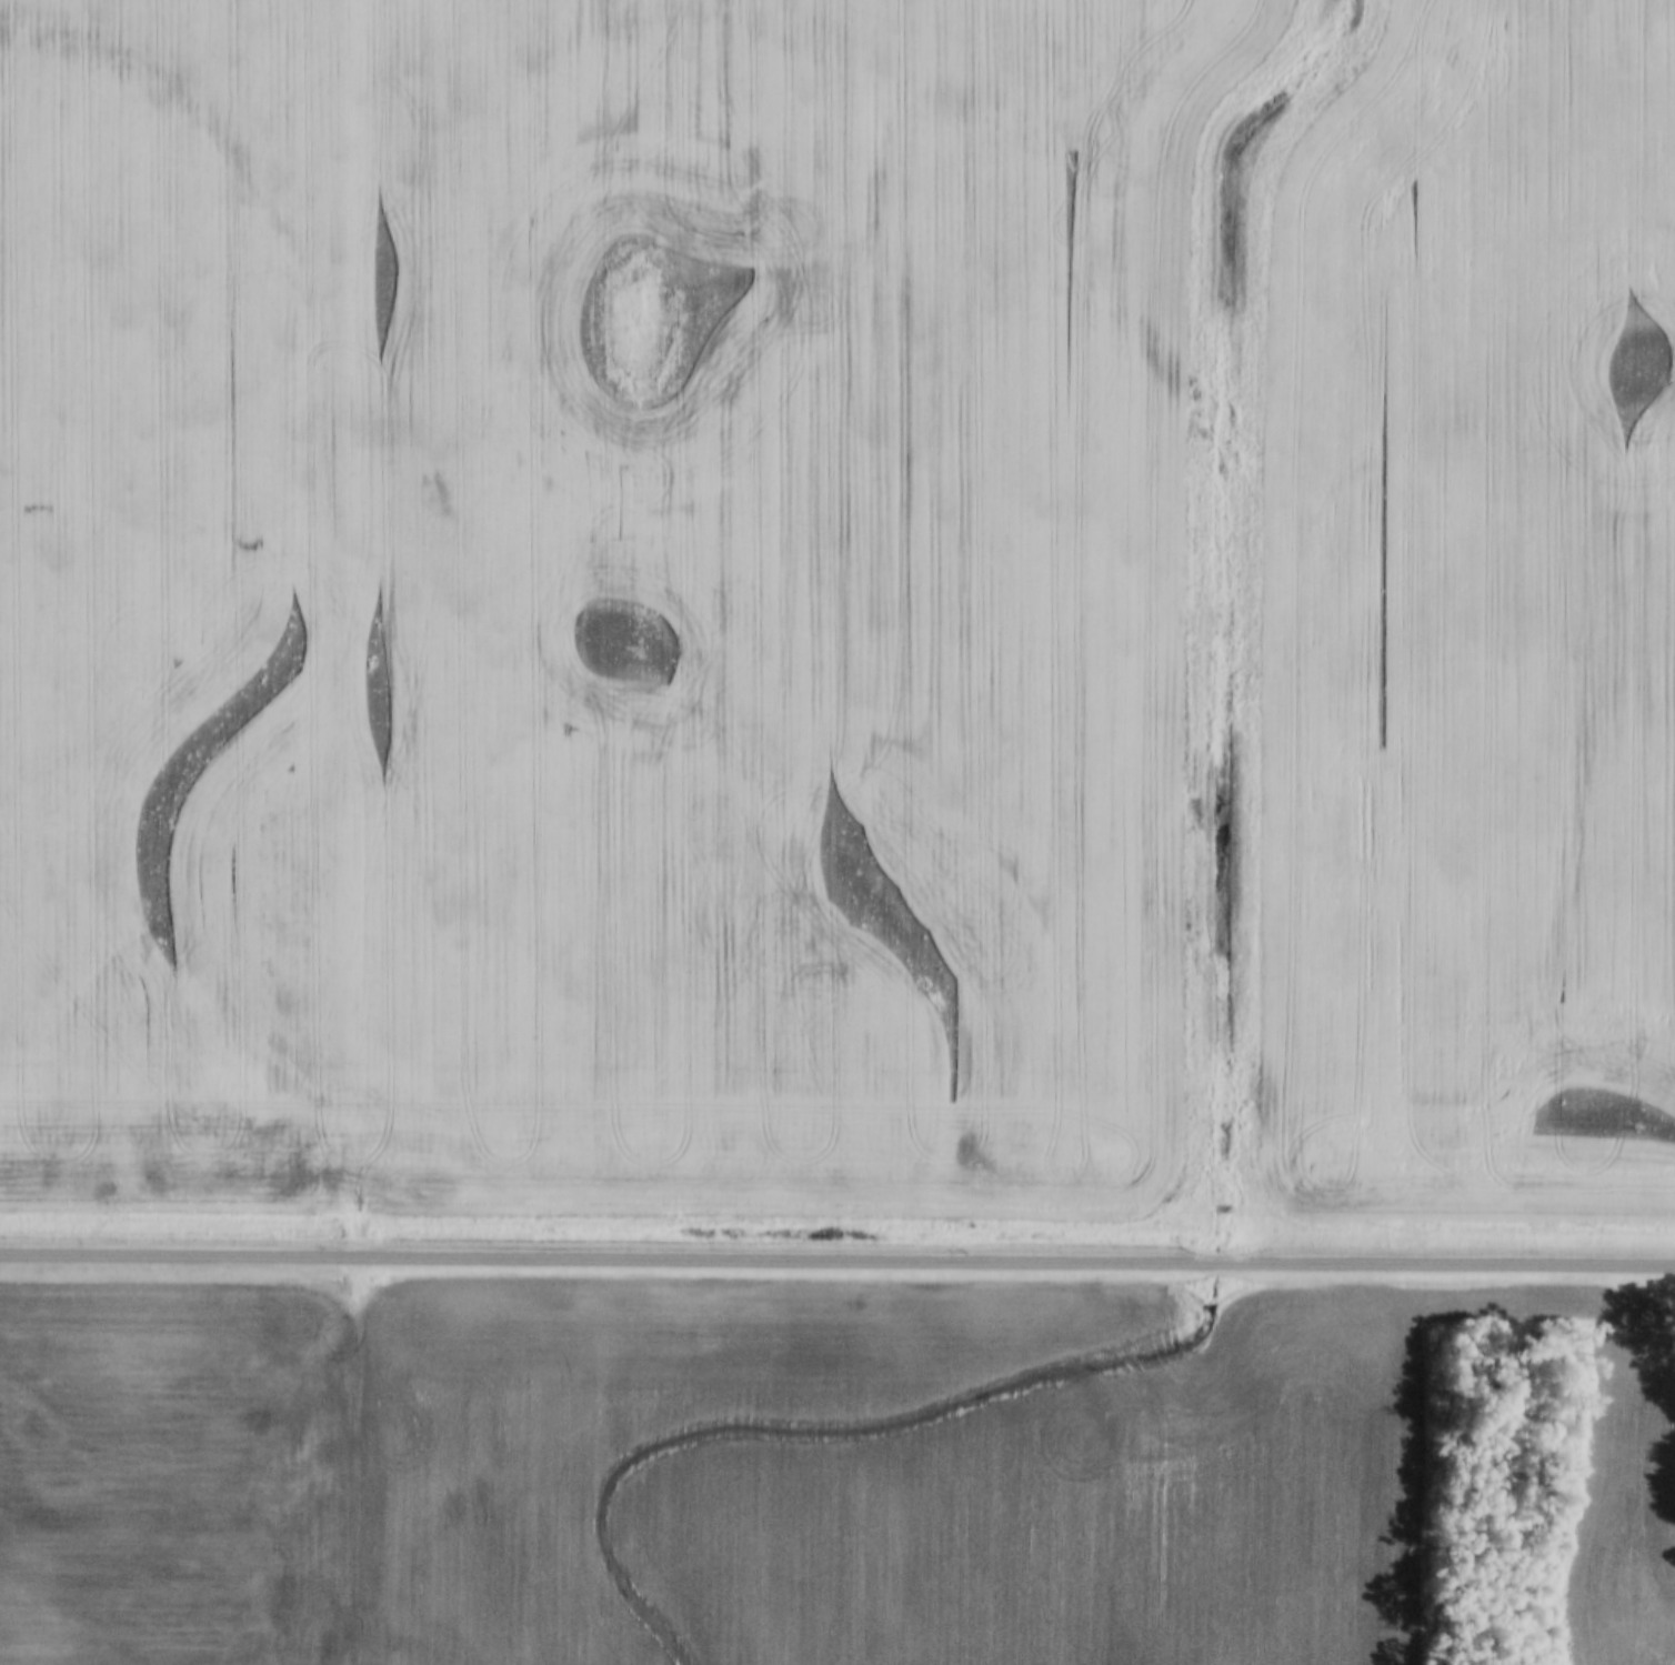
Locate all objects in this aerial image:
road: (838, 1262)

